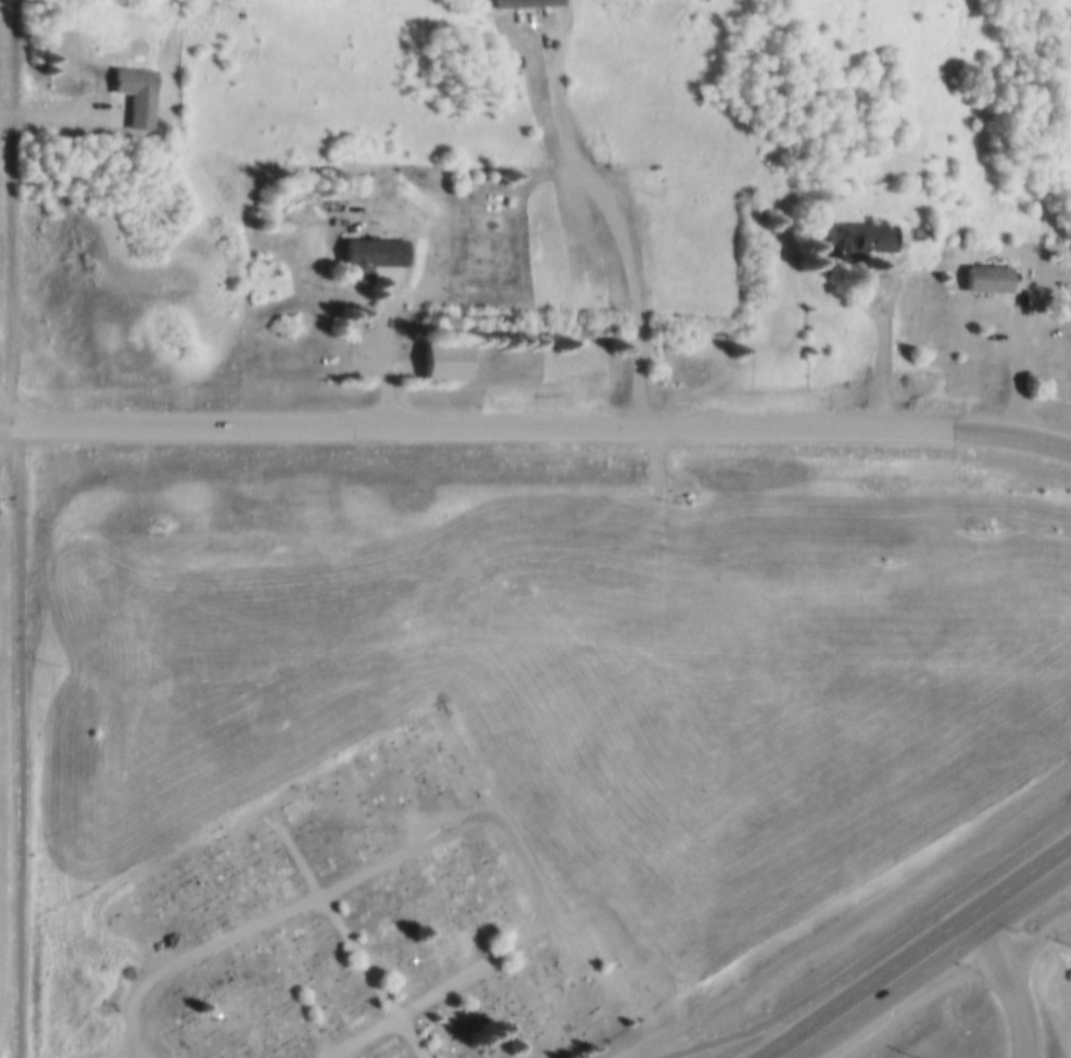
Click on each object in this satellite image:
building: (527, 2)
building: (517, 62)
building: (874, 71)
building: (137, 92)
road: (61, 112)
building: (682, 185)
road: (630, 222)
building: (919, 230)
building: (858, 234)
building: (369, 254)
building: (985, 276)
road: (886, 344)
road: (392, 350)
road: (1022, 354)
road: (537, 428)
road: (23, 528)
road: (445, 829)
road: (356, 949)
road: (878, 952)
road: (921, 958)
road: (1011, 986)
road: (140, 1054)

